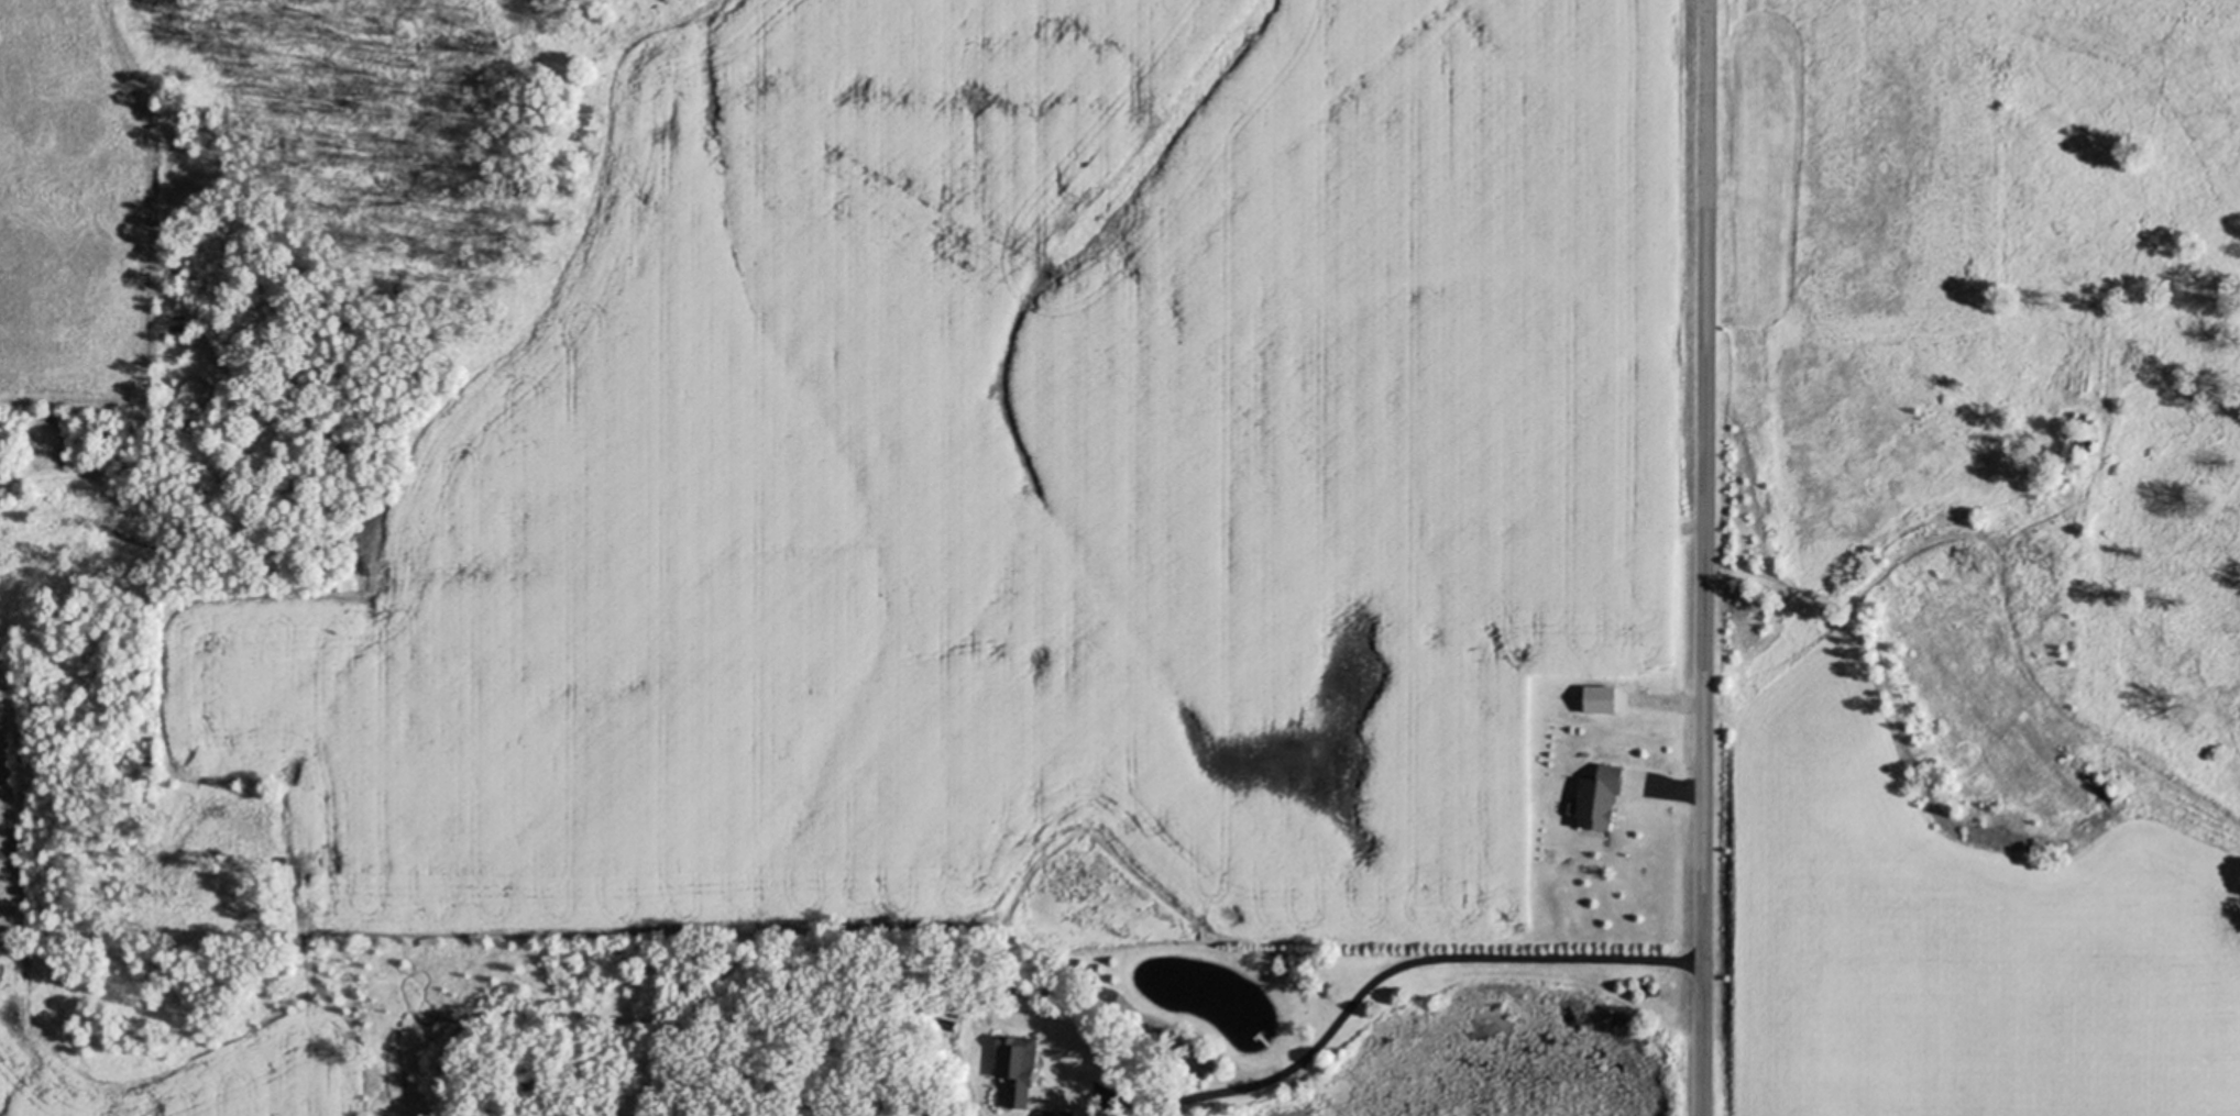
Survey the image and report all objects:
road: (1705, 557)
building: (1600, 700)
road: (1673, 789)
building: (1599, 799)
road: (1359, 1004)
building: (1017, 1071)
building: (1056, 1114)

